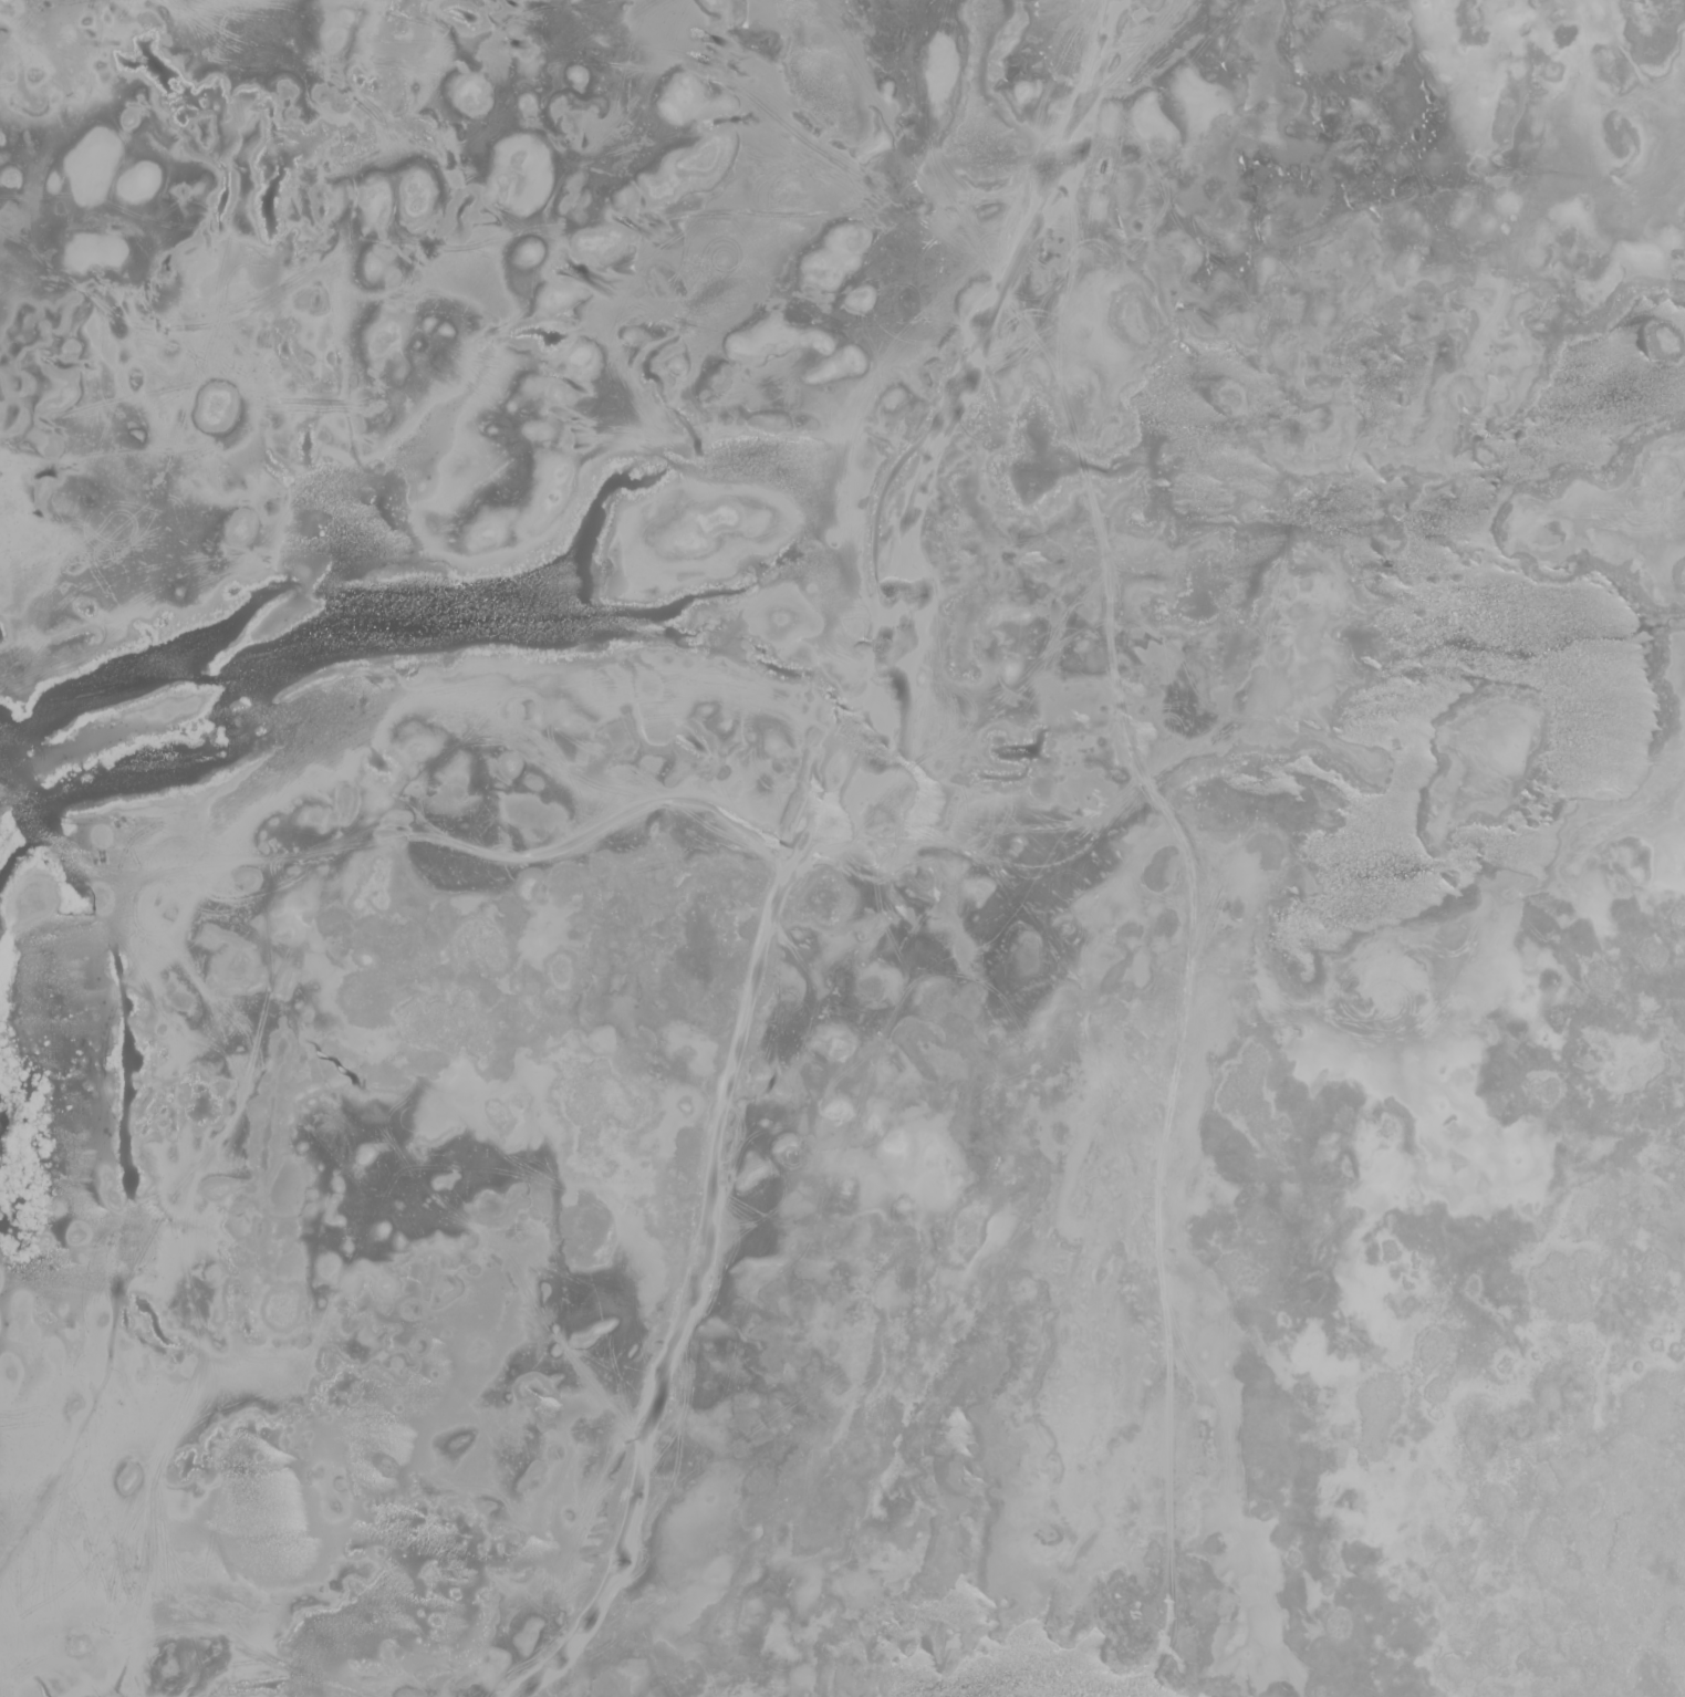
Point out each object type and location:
park: (842, 848)

